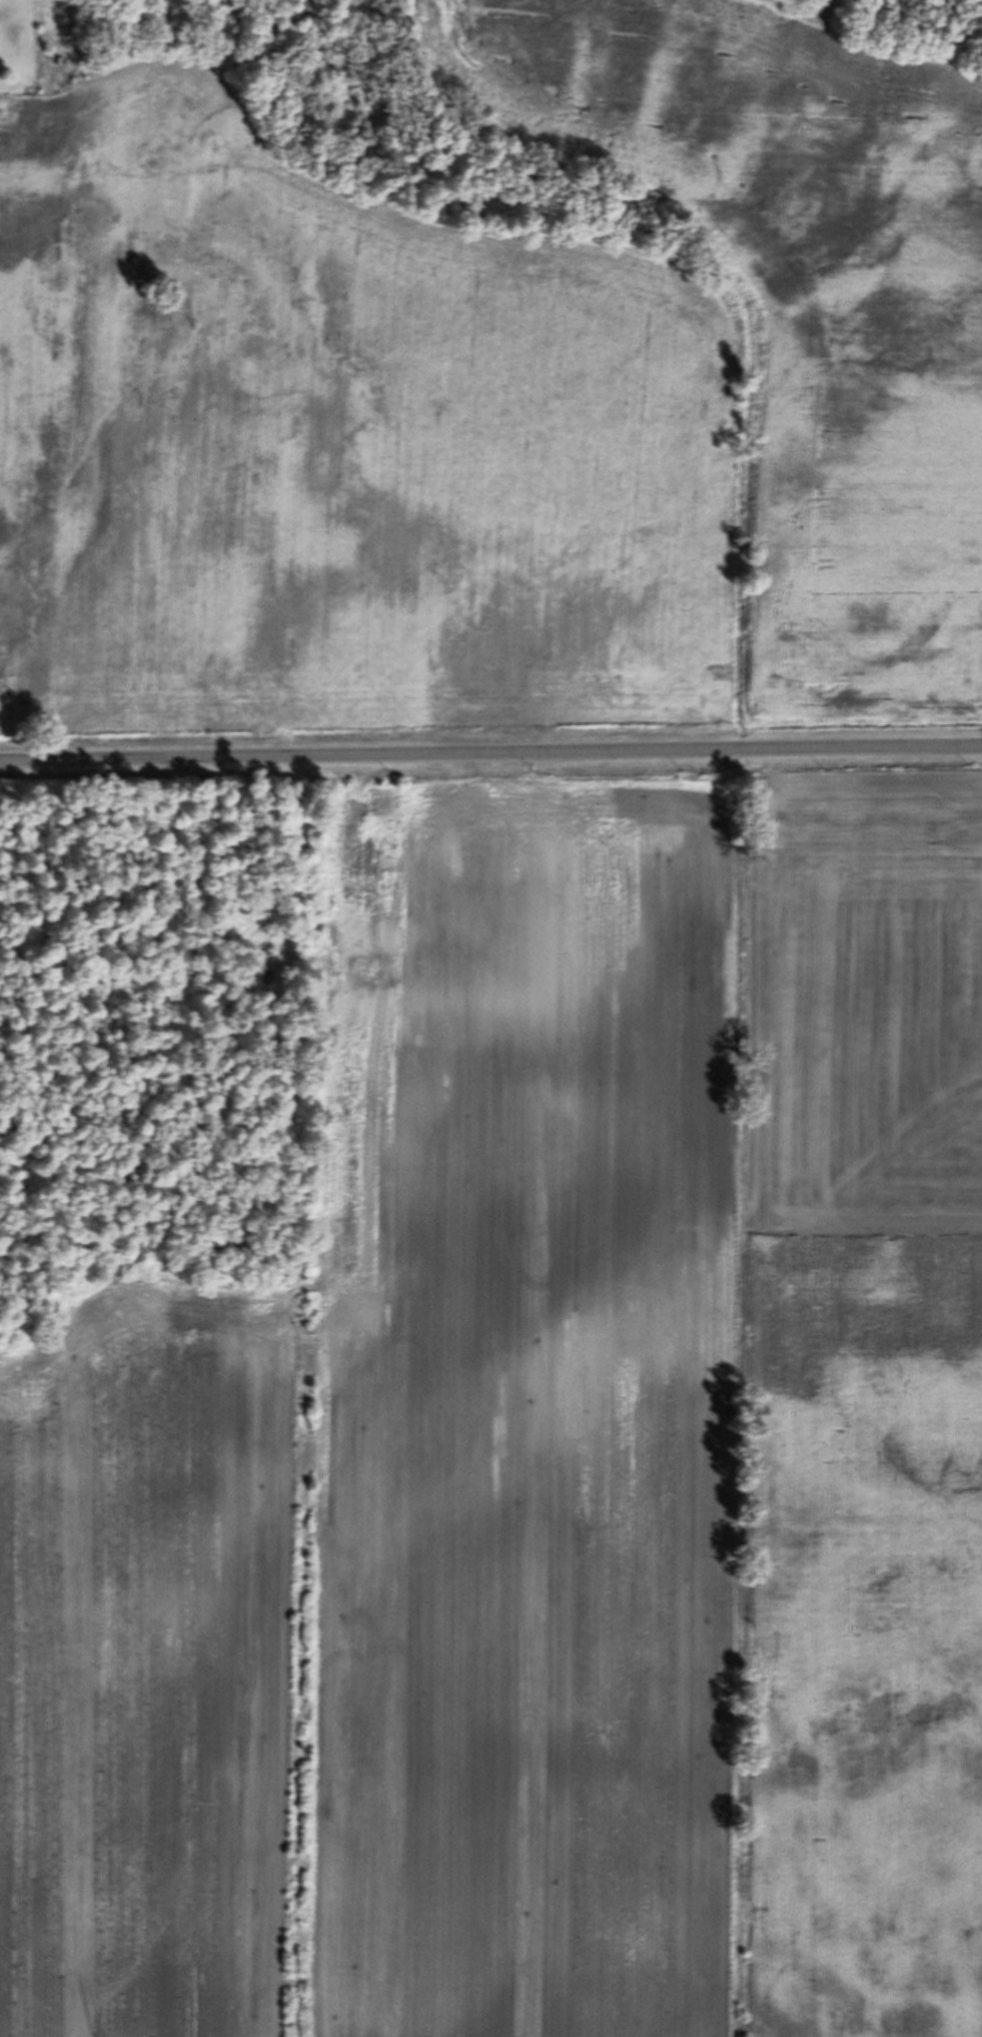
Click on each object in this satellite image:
road: (491, 756)
crop: (543, 1469)

